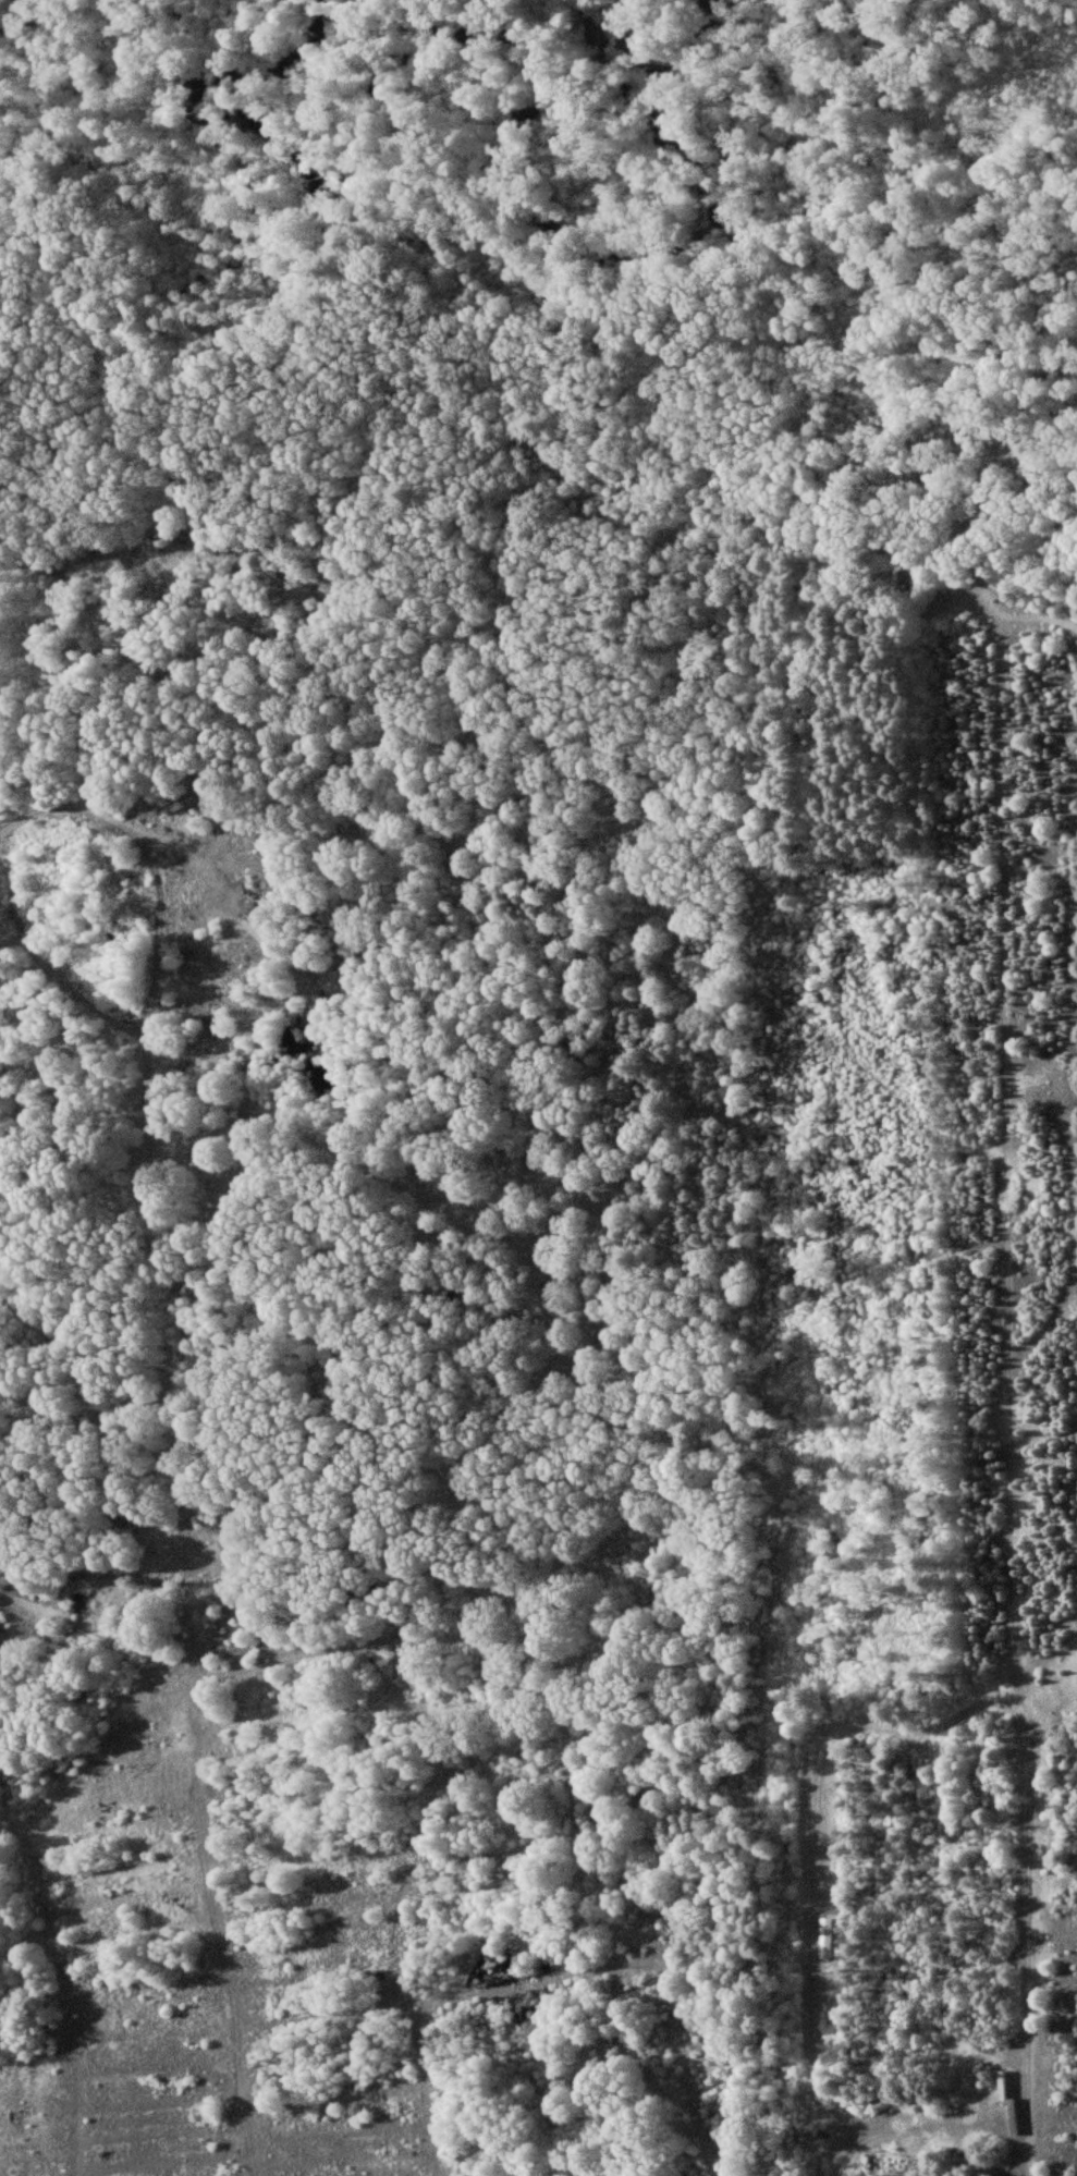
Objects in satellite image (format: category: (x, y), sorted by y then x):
road: (87, 811)
road: (0, 846)
road: (187, 1605)
road: (1029, 2154)

